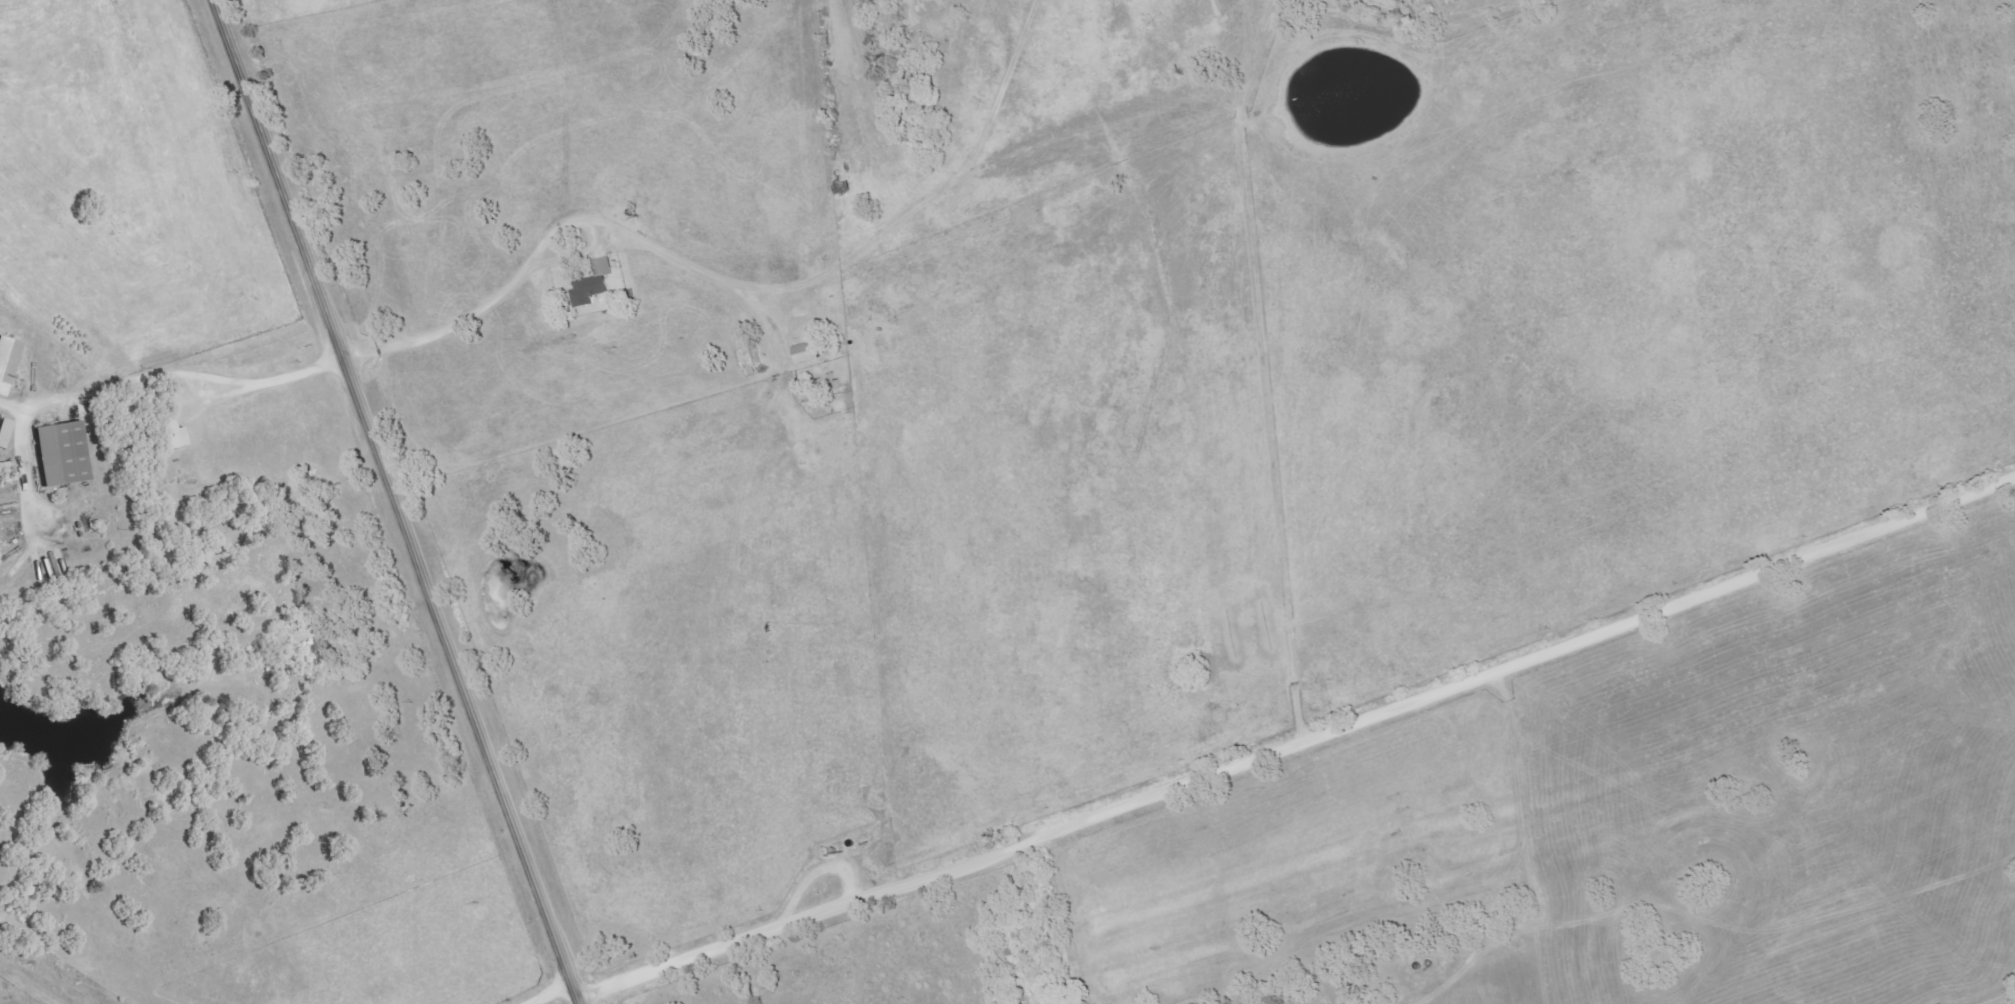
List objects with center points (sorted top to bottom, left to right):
road: (277, 181)
building: (591, 283)
road: (734, 283)
building: (804, 352)
building: (8, 362)
road: (171, 374)
building: (165, 431)
building: (59, 453)
road: (460, 683)
road: (1293, 727)
road: (552, 996)

